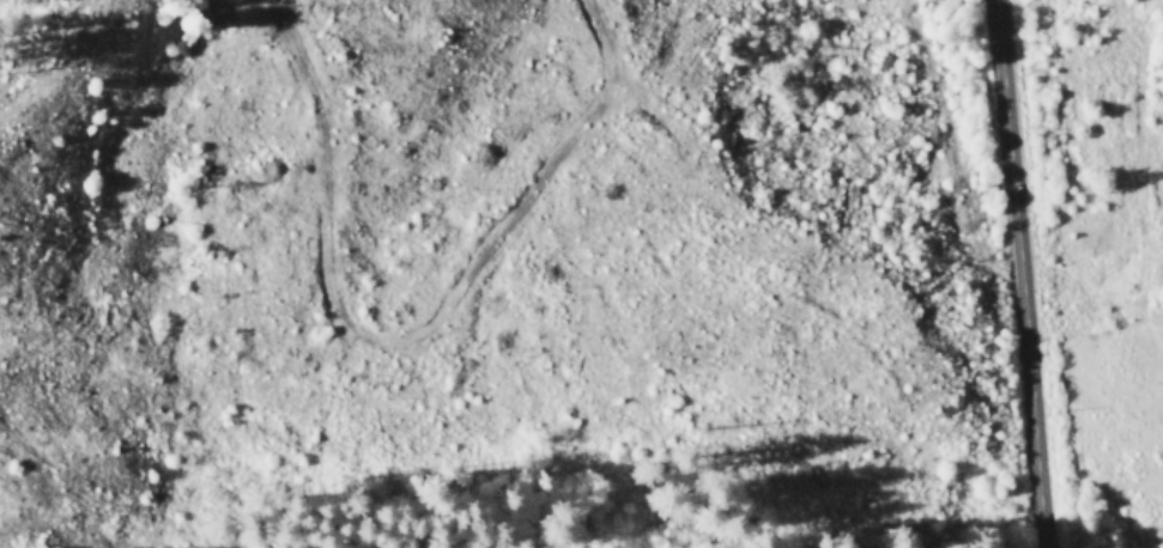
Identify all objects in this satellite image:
road: (1023, 274)

